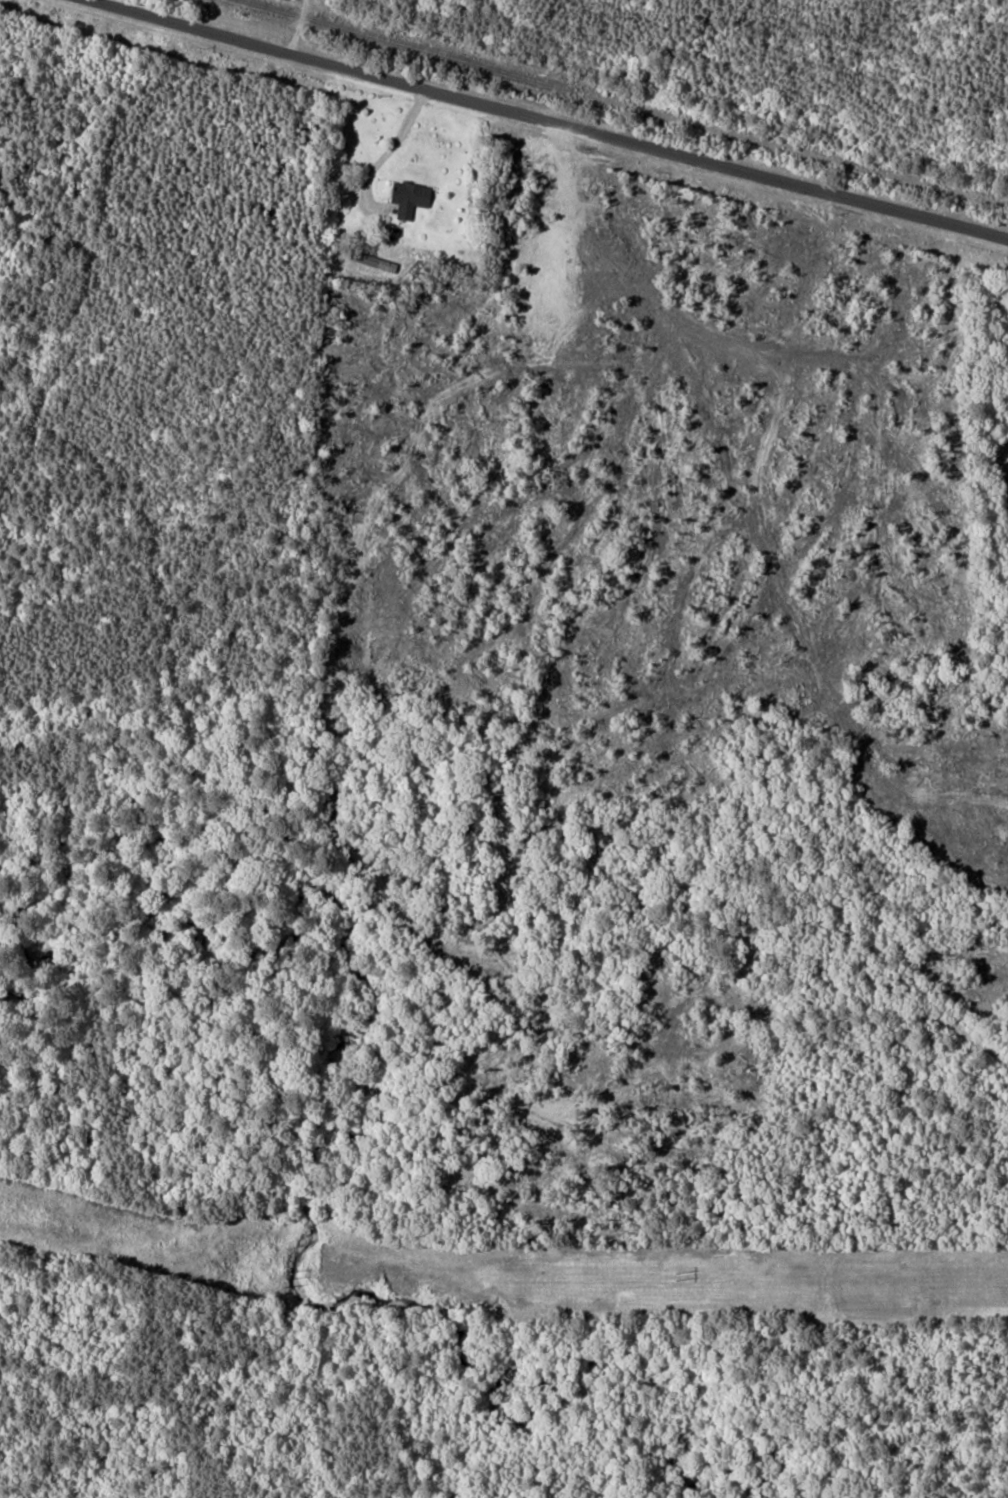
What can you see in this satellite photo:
railway: (624, 103)
road: (553, 118)
building: (405, 197)

